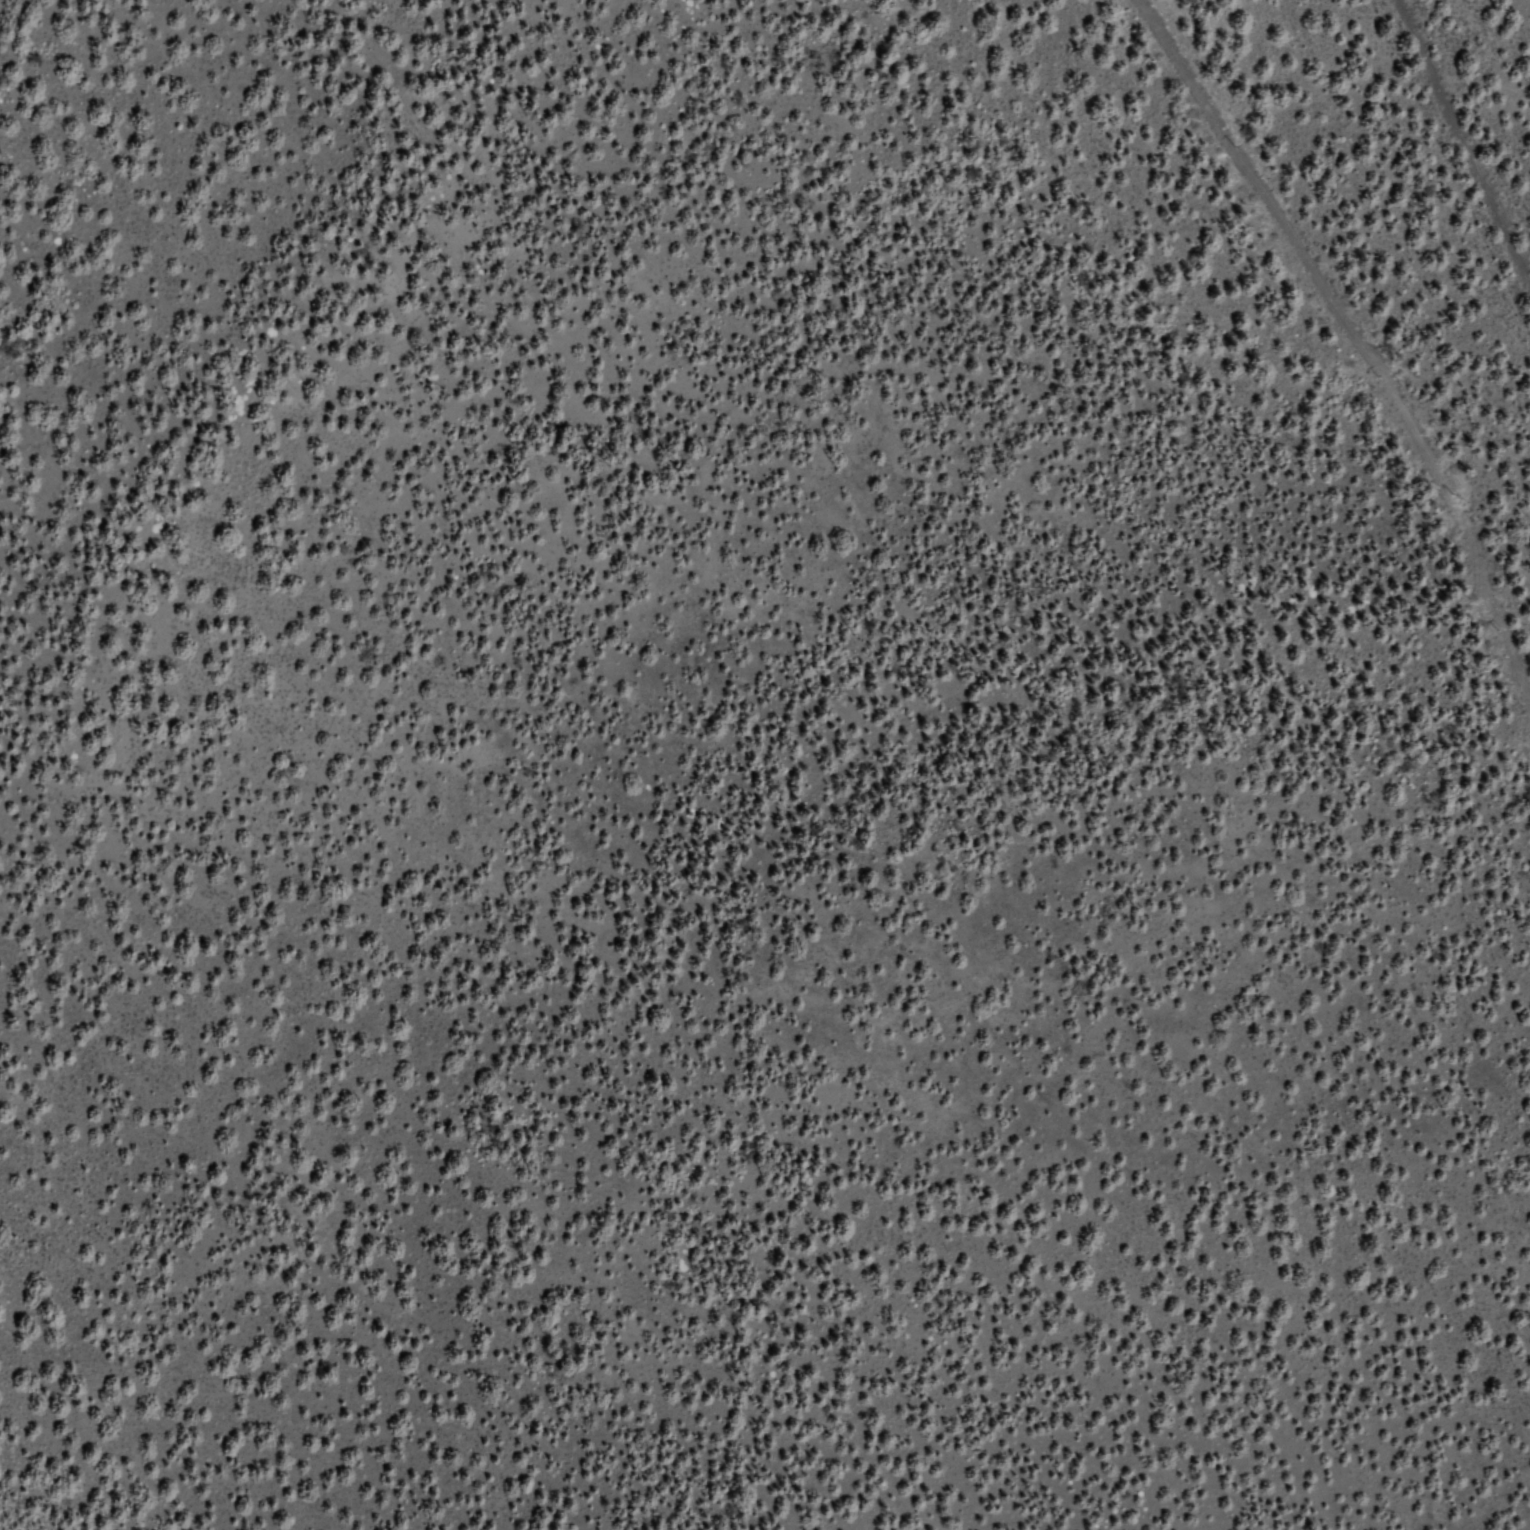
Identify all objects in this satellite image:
road: (1463, 140)

